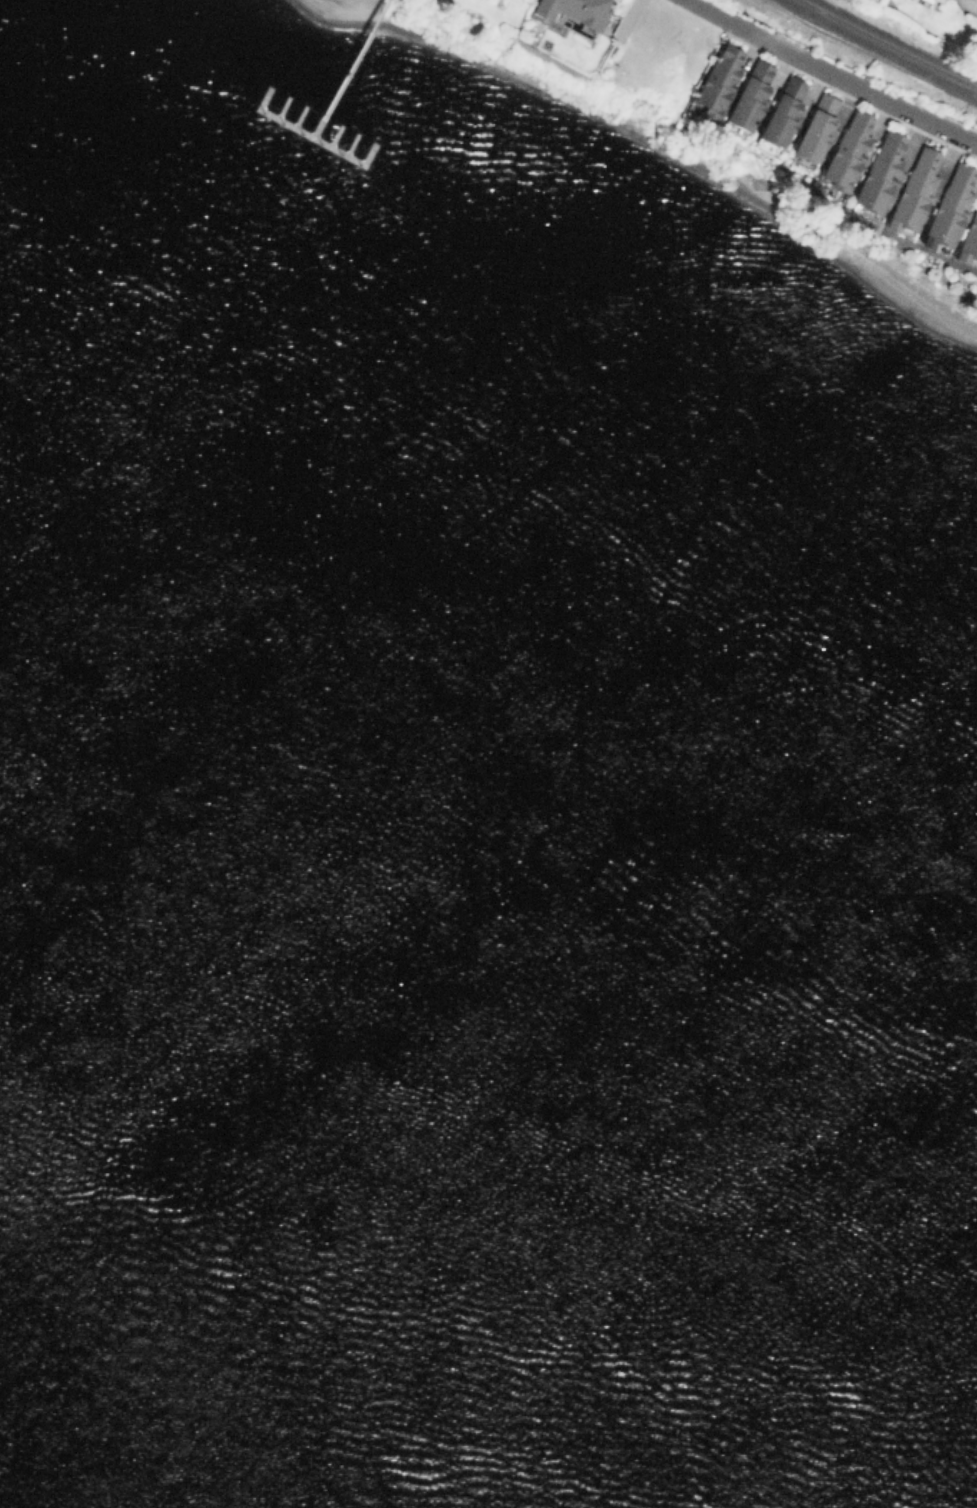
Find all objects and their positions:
building: (935, 1)
road: (707, 8)
building: (575, 11)
railway: (889, 44)
pier: (347, 68)
building: (718, 80)
road: (849, 82)
building: (750, 95)
building: (783, 110)
building: (817, 127)
pier: (310, 136)
building: (847, 152)
building: (943, 169)
building: (880, 172)
building: (915, 190)
building: (951, 204)
building: (969, 239)
river: (488, 968)

